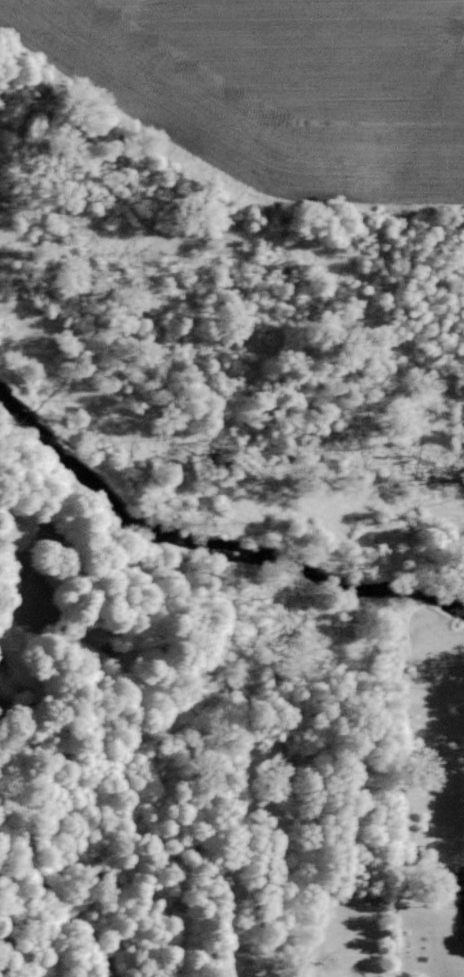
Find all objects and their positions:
road: (28, 572)

